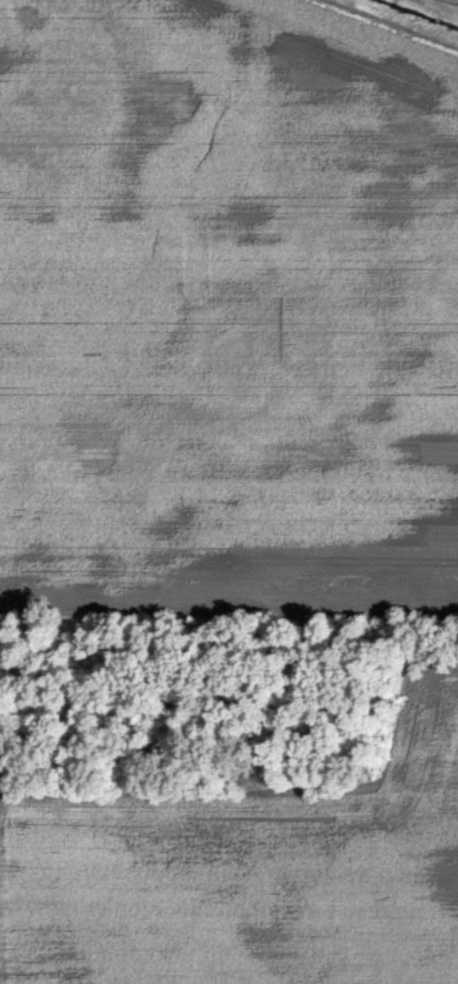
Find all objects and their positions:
crop: (229, 301)
crop: (228, 793)

